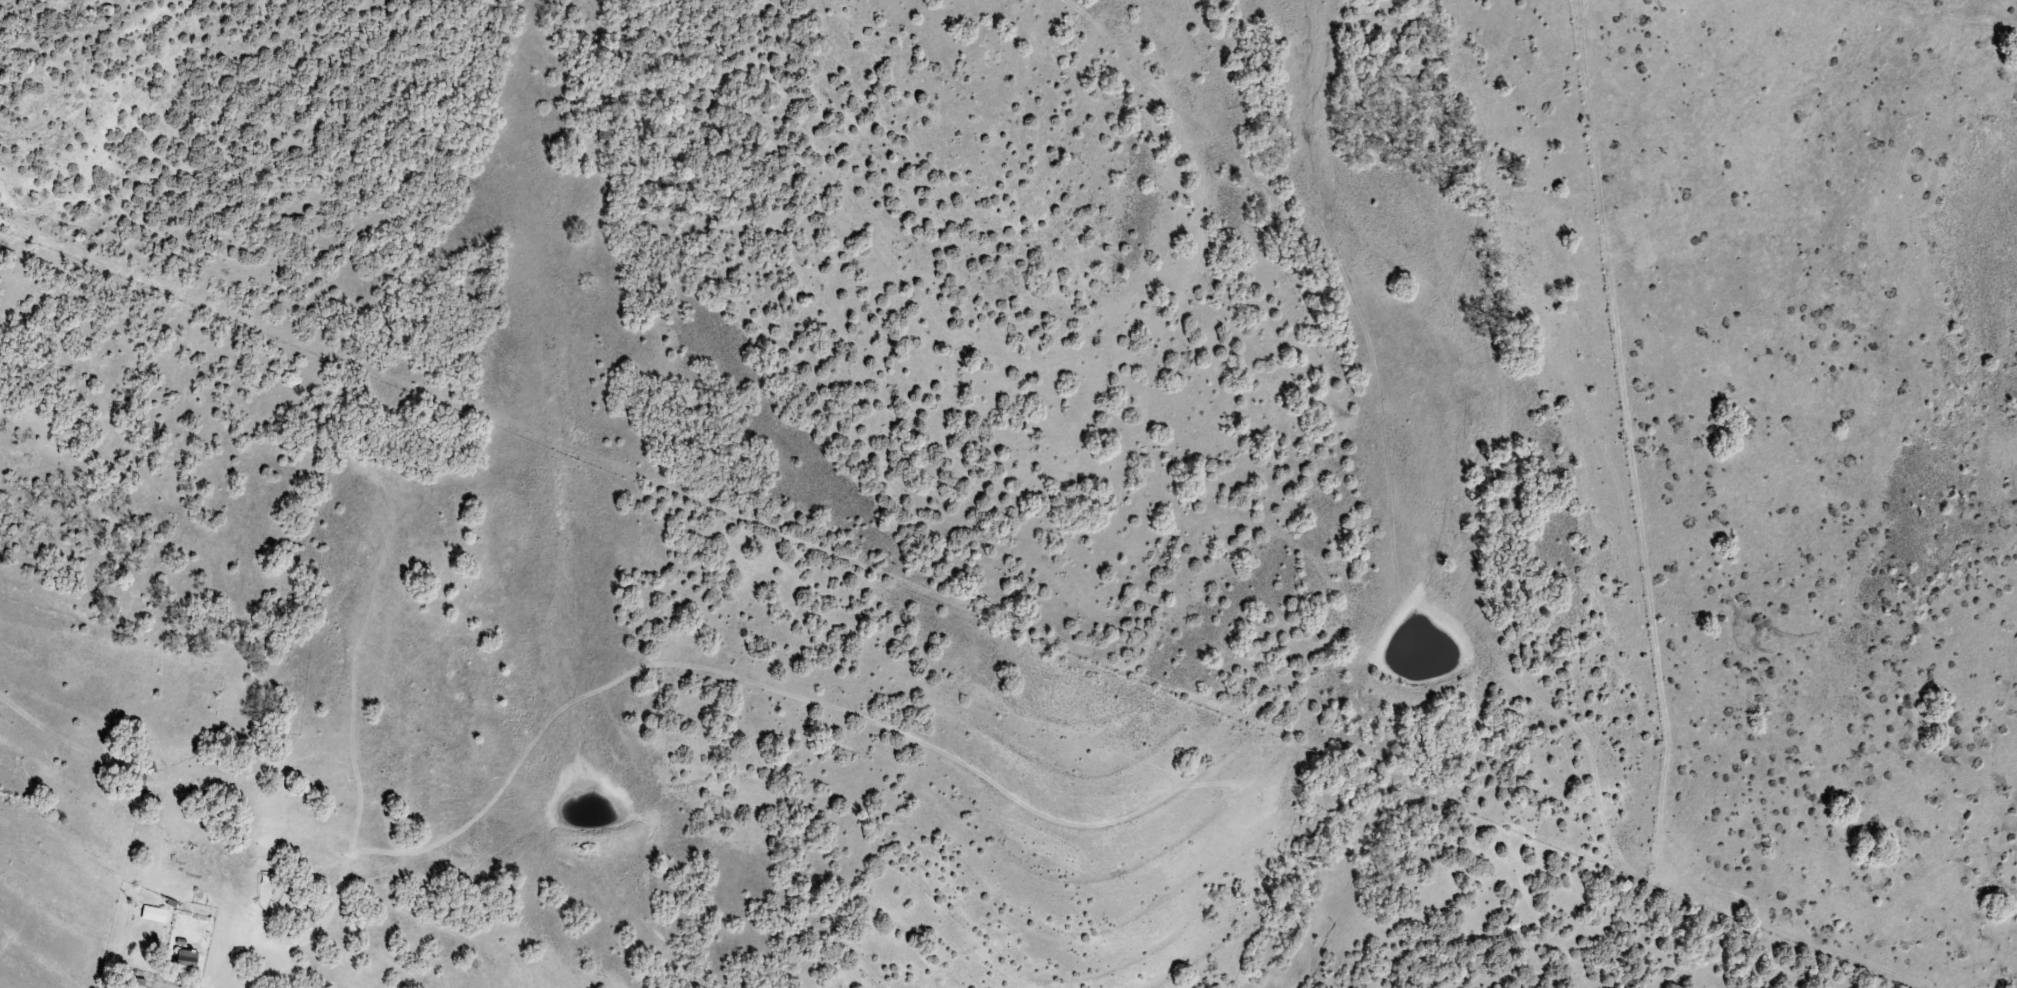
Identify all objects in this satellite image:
building: (184, 962)

